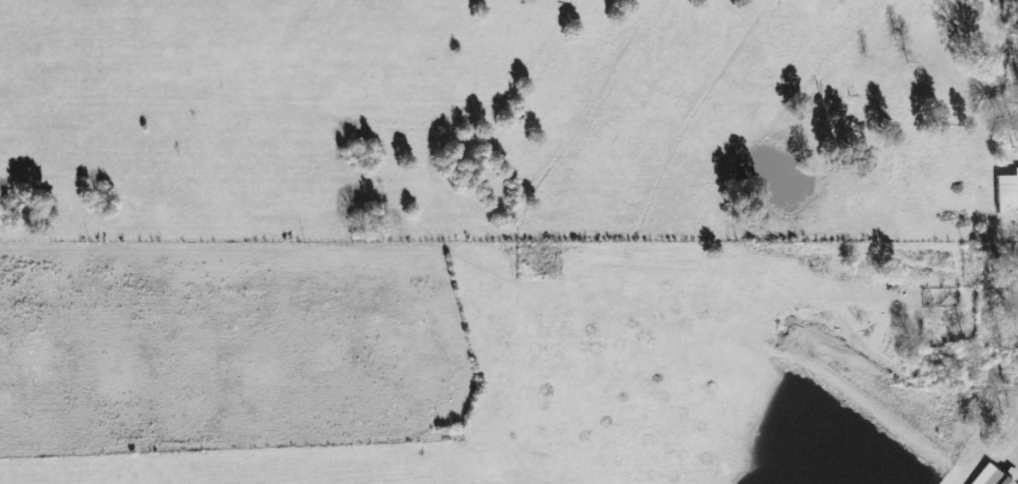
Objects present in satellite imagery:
building: (1005, 192)
building: (993, 476)

